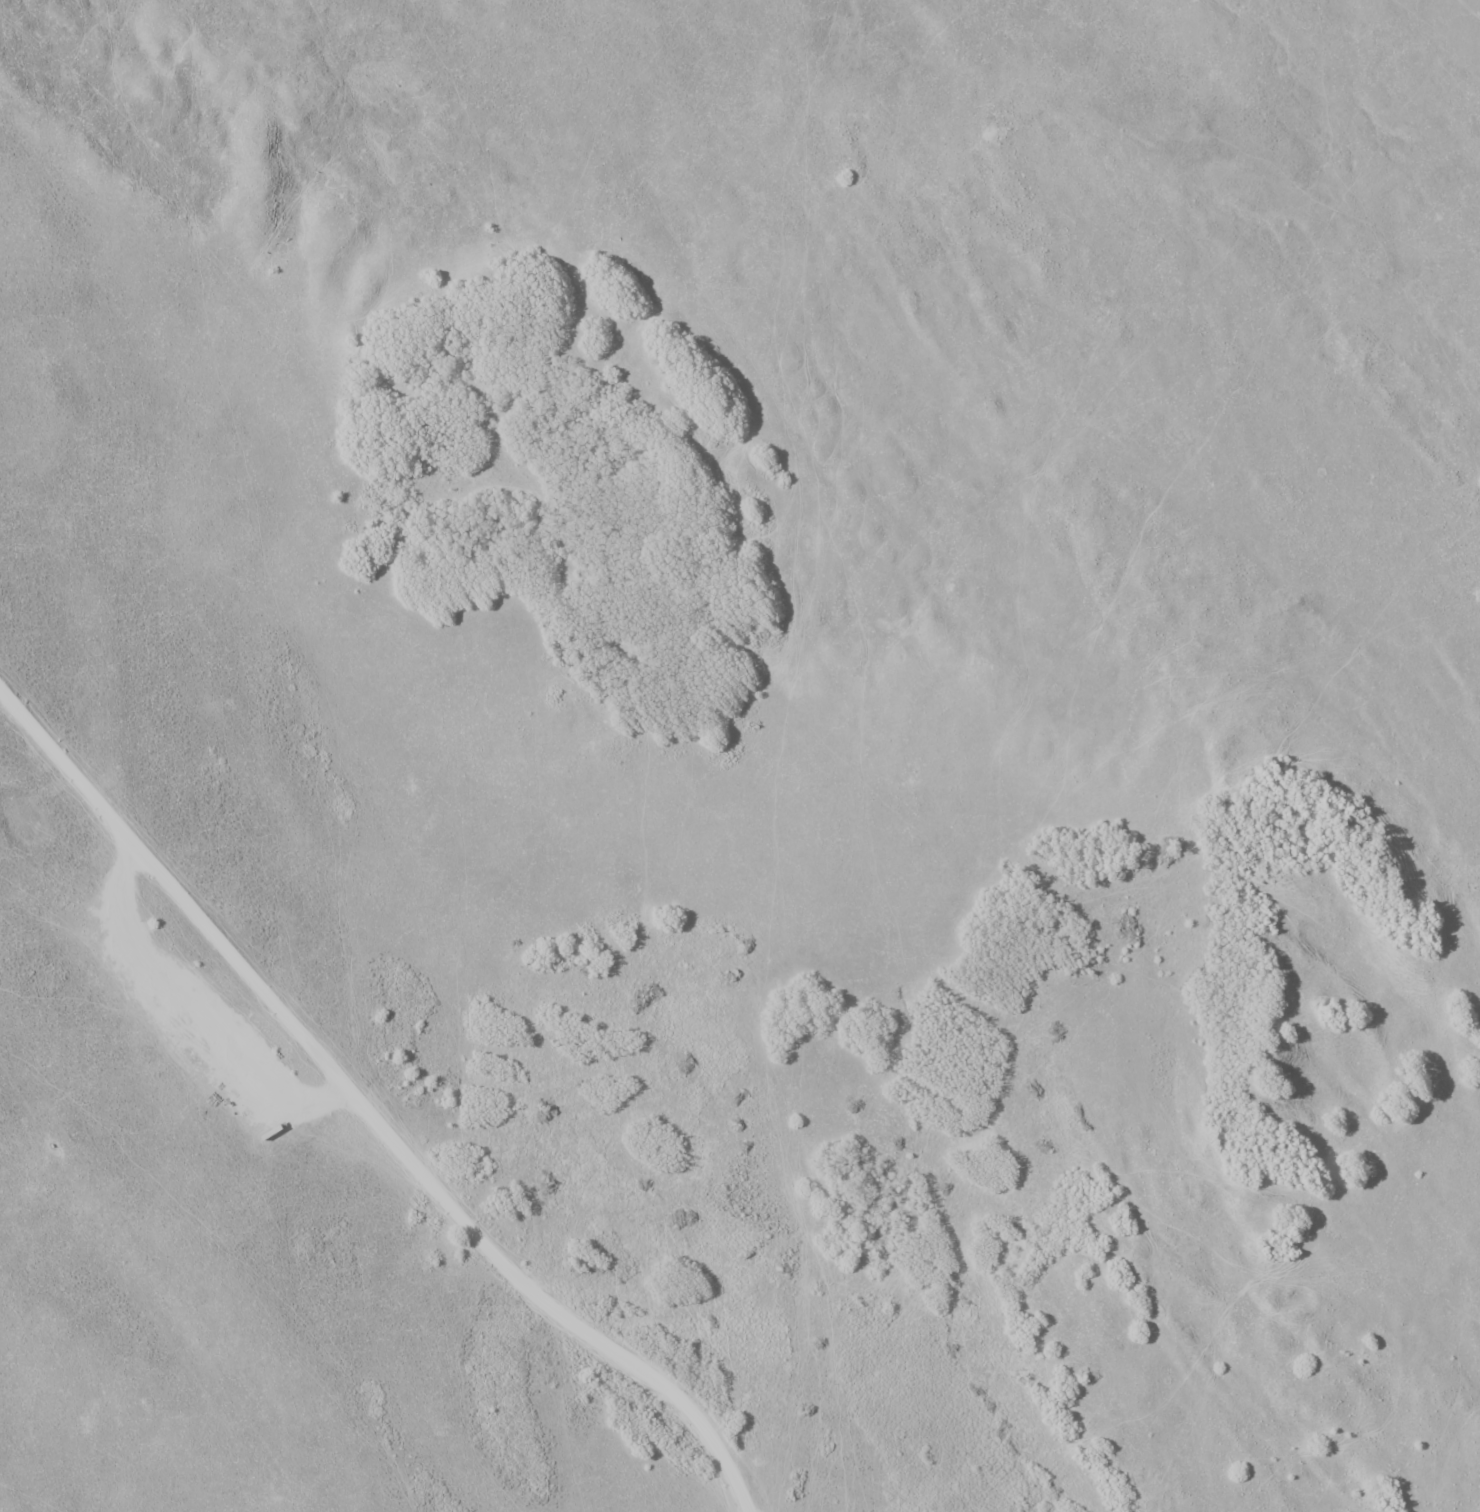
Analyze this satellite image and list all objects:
road: (419, 1184)

